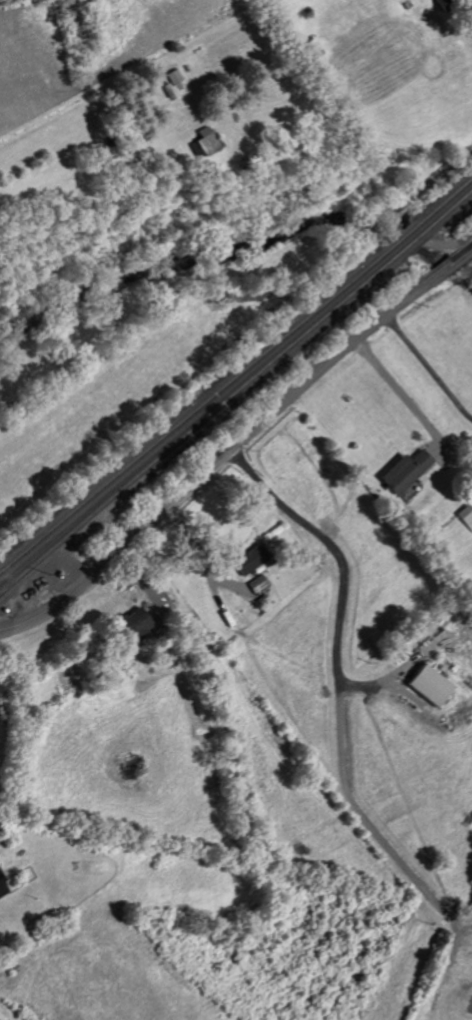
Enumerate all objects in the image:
building: (446, 5)
building: (175, 77)
building: (203, 144)
road: (425, 186)
railway: (443, 201)
railway: (448, 211)
road: (412, 233)
railway: (404, 235)
railway: (413, 242)
road: (451, 242)
road: (426, 369)
road: (402, 397)
railway: (196, 407)
railway: (200, 420)
road: (235, 441)
building: (408, 472)
building: (467, 516)
road: (199, 556)
building: (254, 560)
road: (336, 580)
building: (137, 627)
road: (1, 632)
building: (433, 686)
road: (359, 826)
building: (3, 888)
road: (6, 1015)

